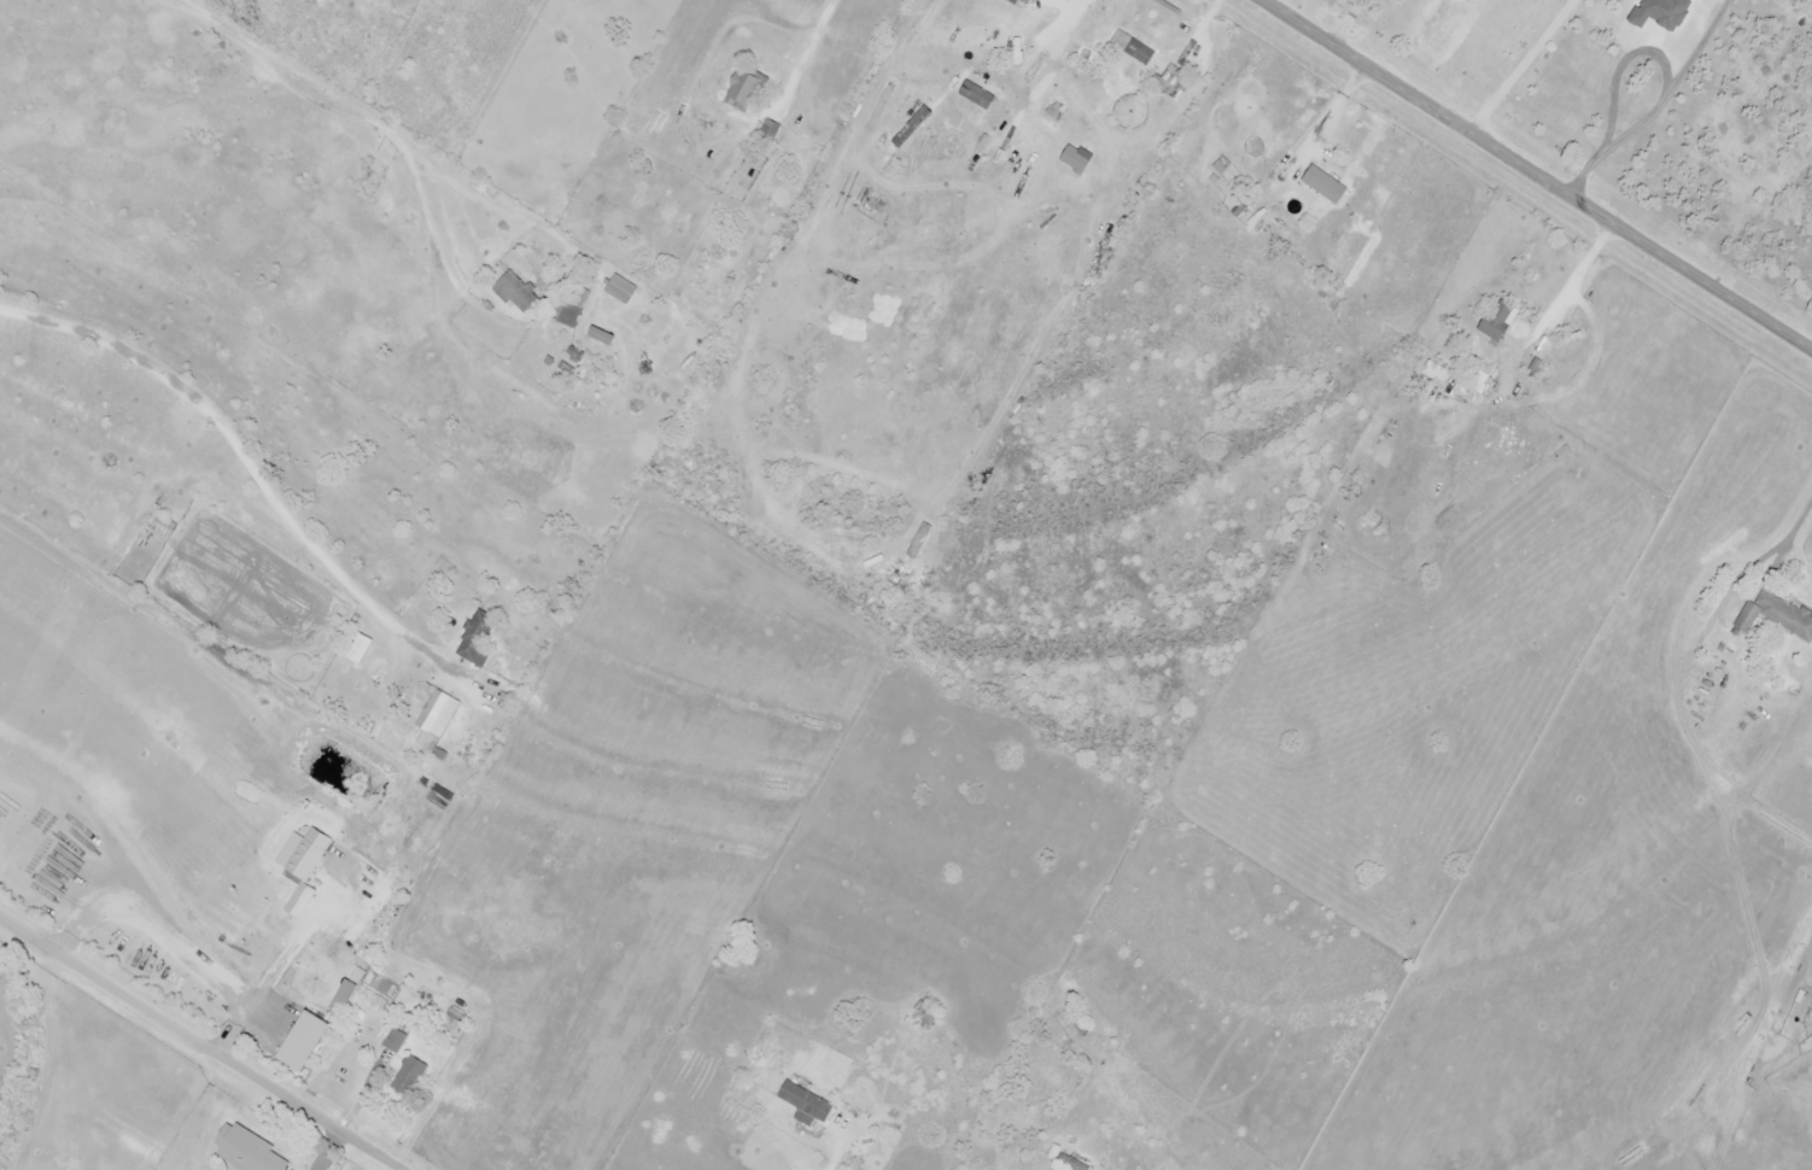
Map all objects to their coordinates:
building: (1624, 27)
road: (358, 113)
road: (1536, 176)
building: (1323, 186)
building: (621, 292)
building: (1436, 374)
road: (249, 472)
road: (1794, 520)
building: (1776, 616)
building: (439, 720)
building: (308, 848)
building: (925, 1017)
road: (200, 1043)
building: (805, 1104)

